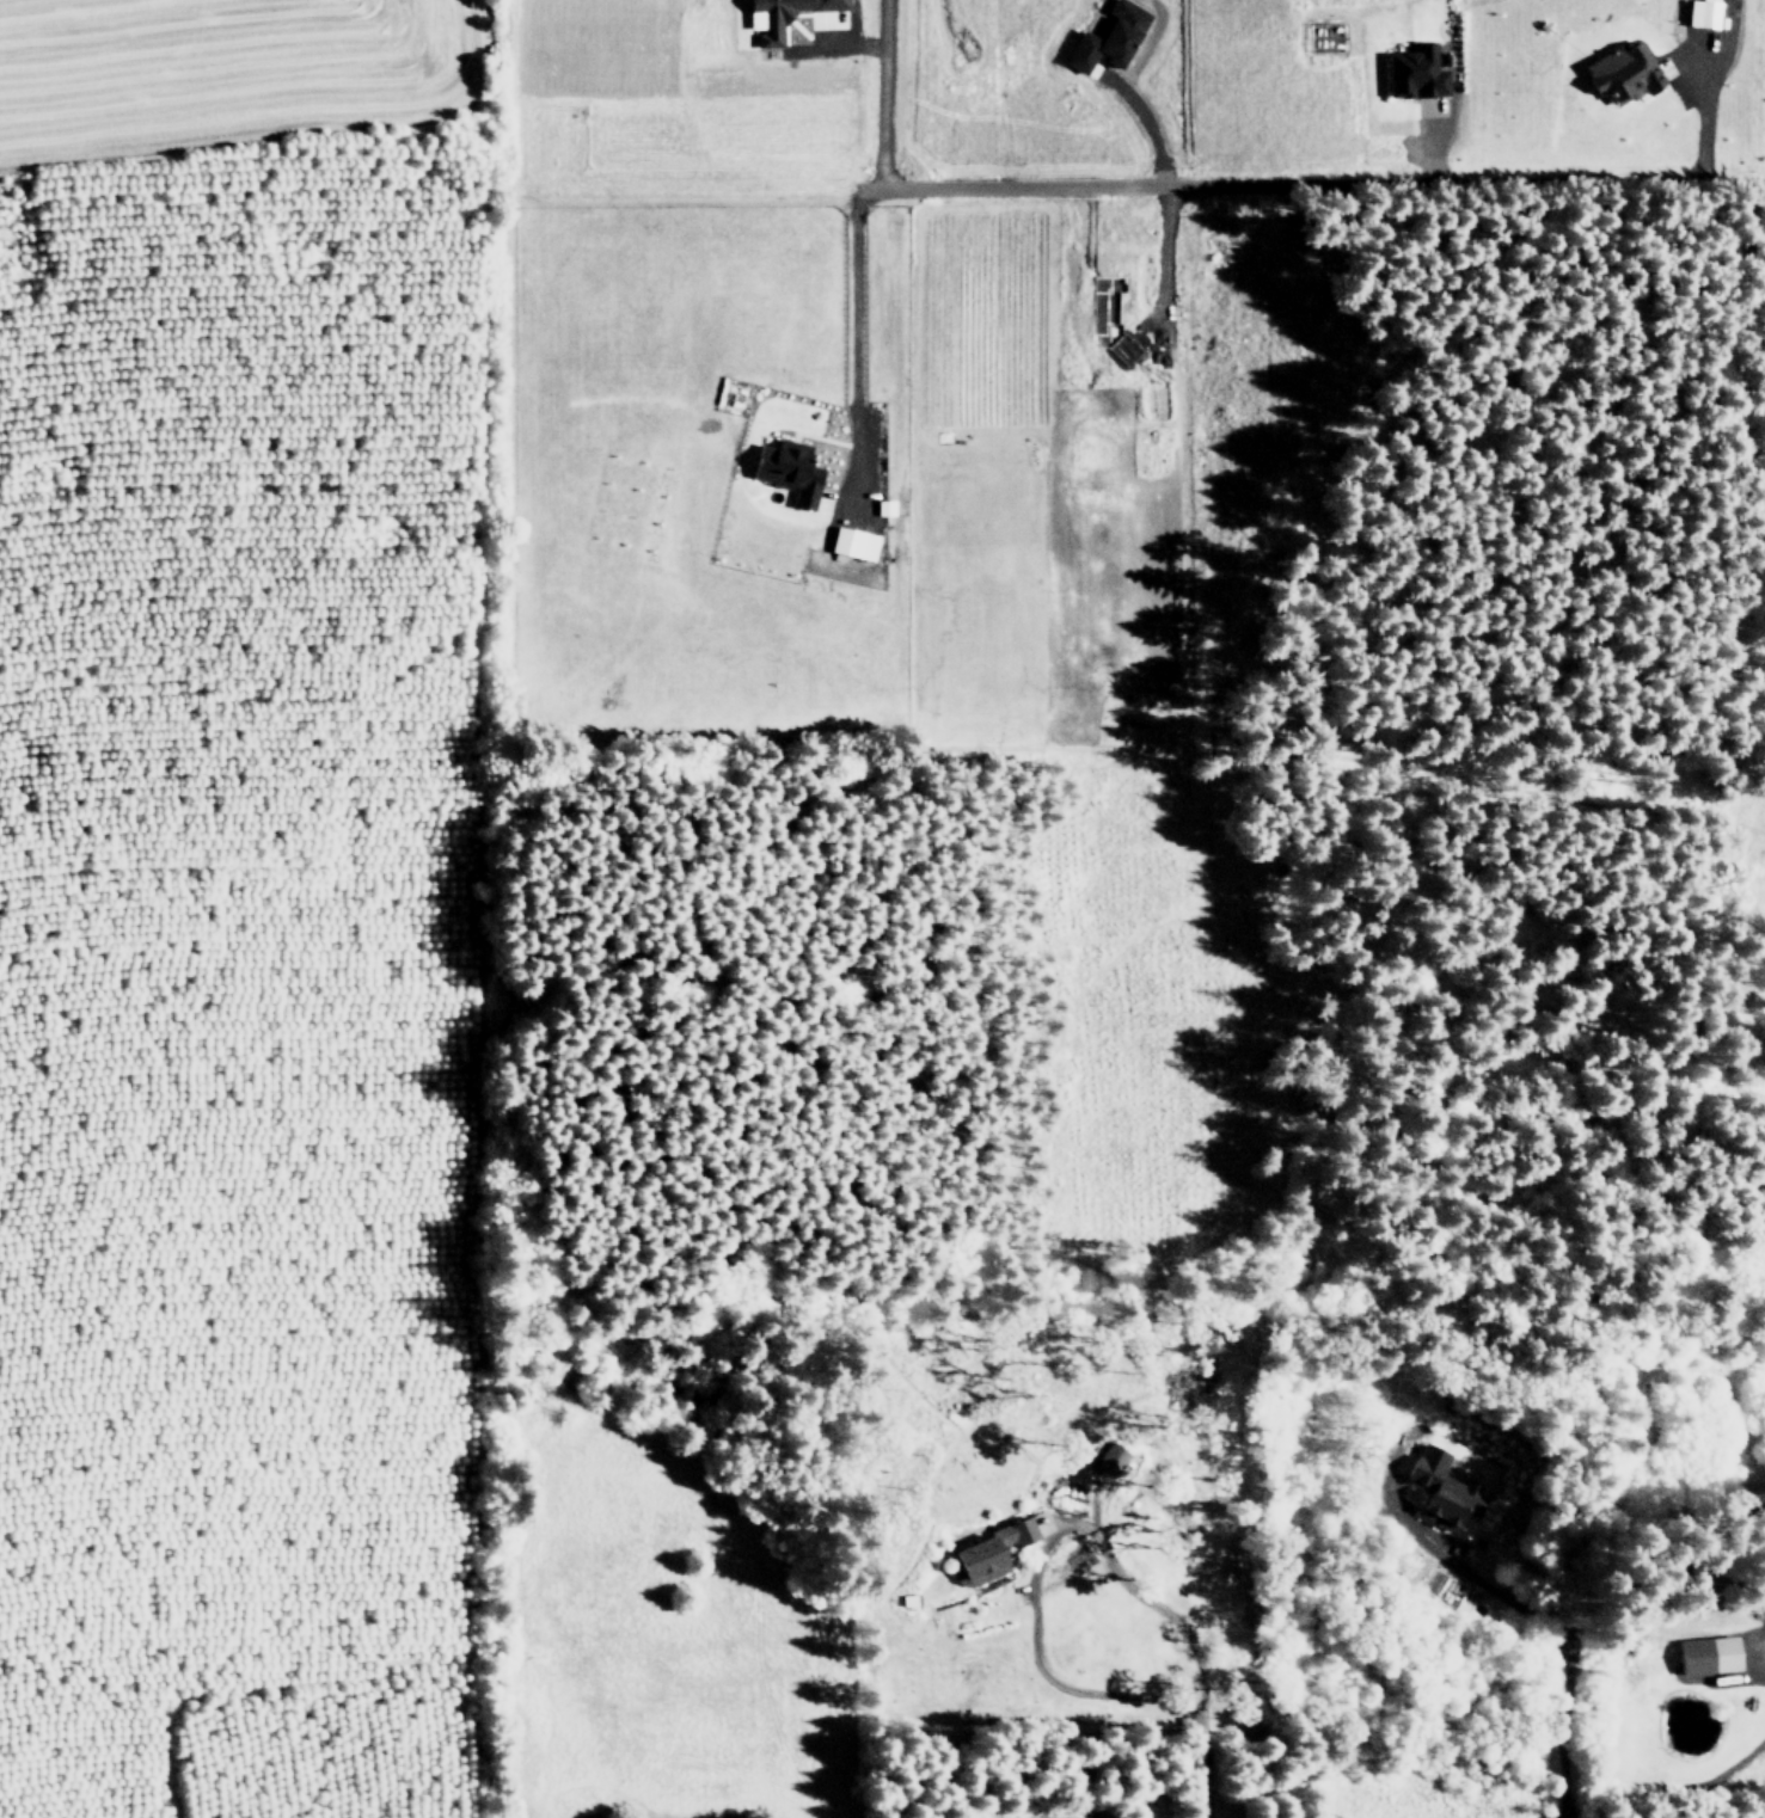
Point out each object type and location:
building: (1700, 12)
building: (785, 17)
building: (1109, 36)
road: (835, 38)
building: (1441, 59)
building: (1416, 70)
building: (1619, 70)
road: (1690, 81)
road: (882, 98)
road: (1703, 111)
road: (1145, 124)
road: (1434, 147)
road: (1098, 192)
road: (1160, 264)
road: (852, 354)
building: (785, 467)
building: (884, 508)
building: (852, 542)
building: (1111, 1462)
building: (1439, 1487)
building: (1035, 1493)
road: (189, 1531)
road: (1041, 1548)
building: (988, 1553)
building: (908, 1598)
road: (1525, 1611)
building: (1708, 1652)
road: (1759, 1660)
road: (1199, 1769)
road: (1559, 1808)

